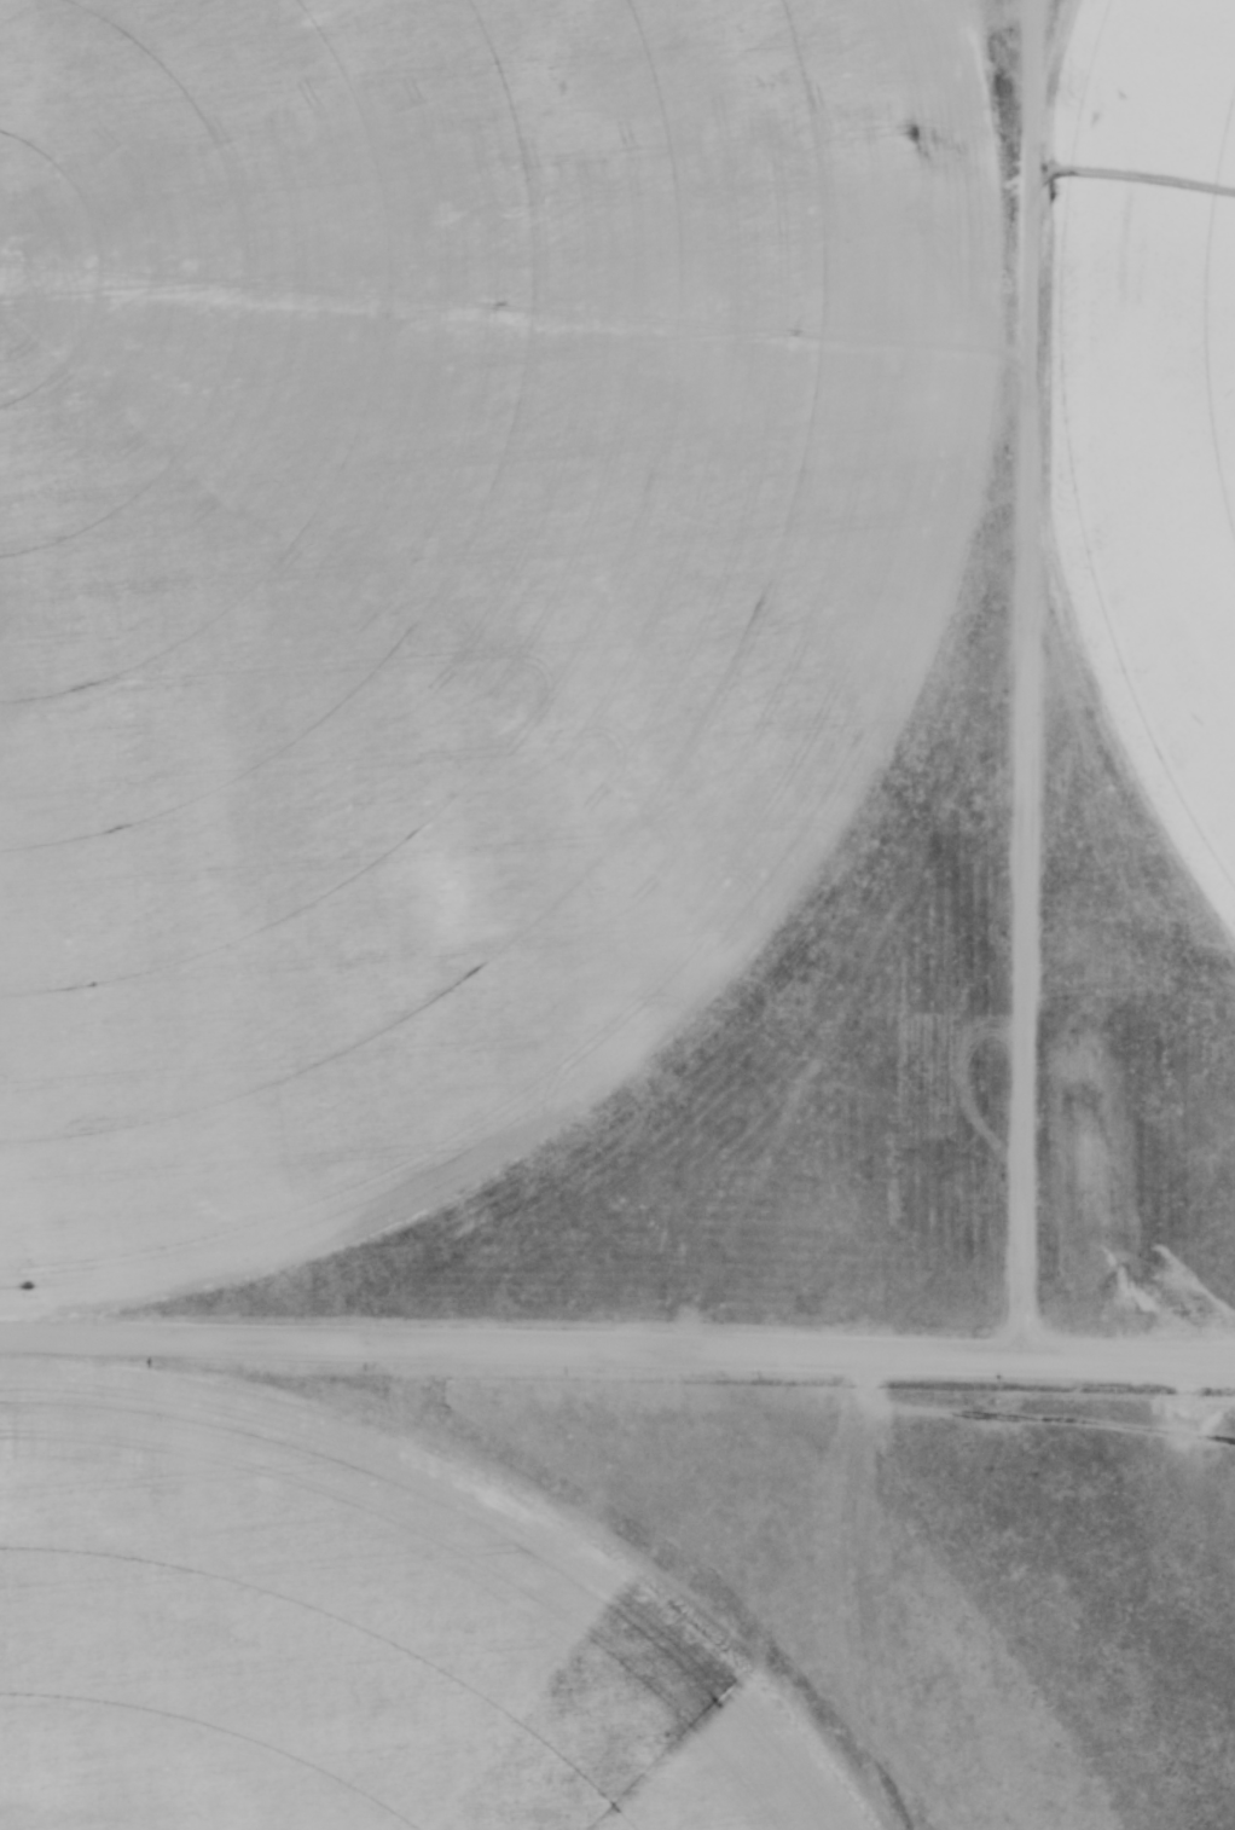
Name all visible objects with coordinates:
crop: (1146, 416)
crop: (441, 566)
road: (617, 1350)
road: (1031, 1419)
crop: (338, 1637)

